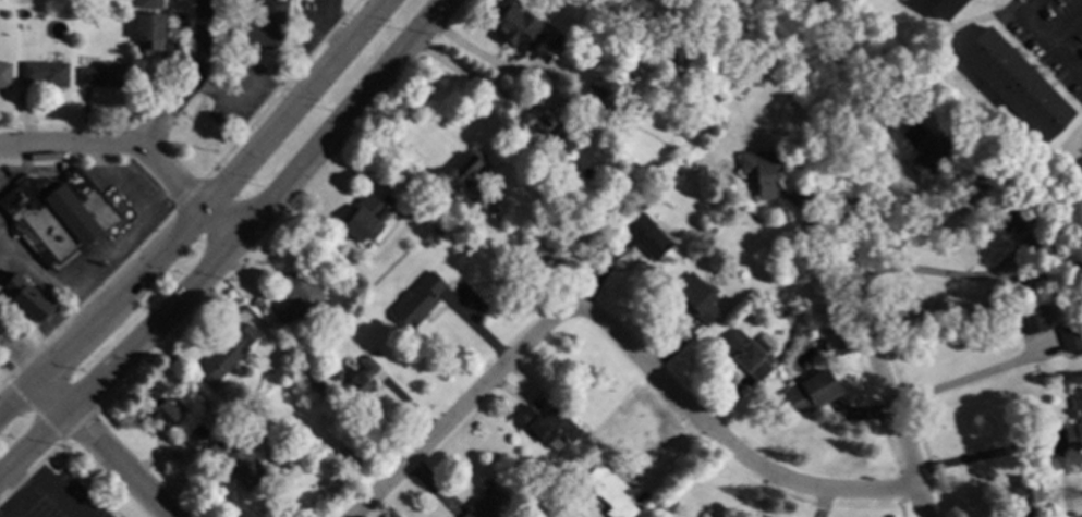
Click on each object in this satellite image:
building: (148, 3)
building: (943, 7)
building: (642, 17)
building: (262, 25)
building: (513, 25)
building: (148, 32)
road: (1040, 39)
building: (558, 44)
building: (630, 71)
building: (45, 73)
building: (4, 74)
building: (102, 75)
road: (190, 82)
road: (1077, 82)
building: (1016, 84)
building: (603, 90)
road: (545, 107)
building: (568, 138)
road: (135, 146)
building: (926, 149)
building: (759, 171)
building: (464, 175)
road: (198, 205)
building: (416, 206)
building: (57, 216)
building: (364, 217)
building: (1006, 220)
building: (437, 230)
building: (643, 236)
building: (1029, 242)
road: (229, 243)
road: (3, 247)
road: (111, 248)
road: (931, 273)
building: (450, 279)
building: (27, 297)
building: (295, 297)
building: (696, 298)
building: (417, 300)
building: (1041, 327)
road: (617, 333)
building: (1069, 338)
building: (825, 345)
building: (228, 353)
building: (749, 353)
road: (16, 354)
building: (770, 359)
road: (880, 362)
building: (335, 374)
road: (968, 382)
building: (357, 383)
building: (810, 393)
building: (1077, 405)
building: (162, 411)
building: (545, 423)
building: (194, 435)
building: (221, 441)
road: (101, 445)
building: (214, 452)
road: (984, 457)
building: (241, 468)
building: (868, 478)
building: (609, 491)
road: (29, 492)
road: (57, 492)
building: (1026, 495)
parking lot: (54, 498)
building: (484, 501)
building: (707, 516)

